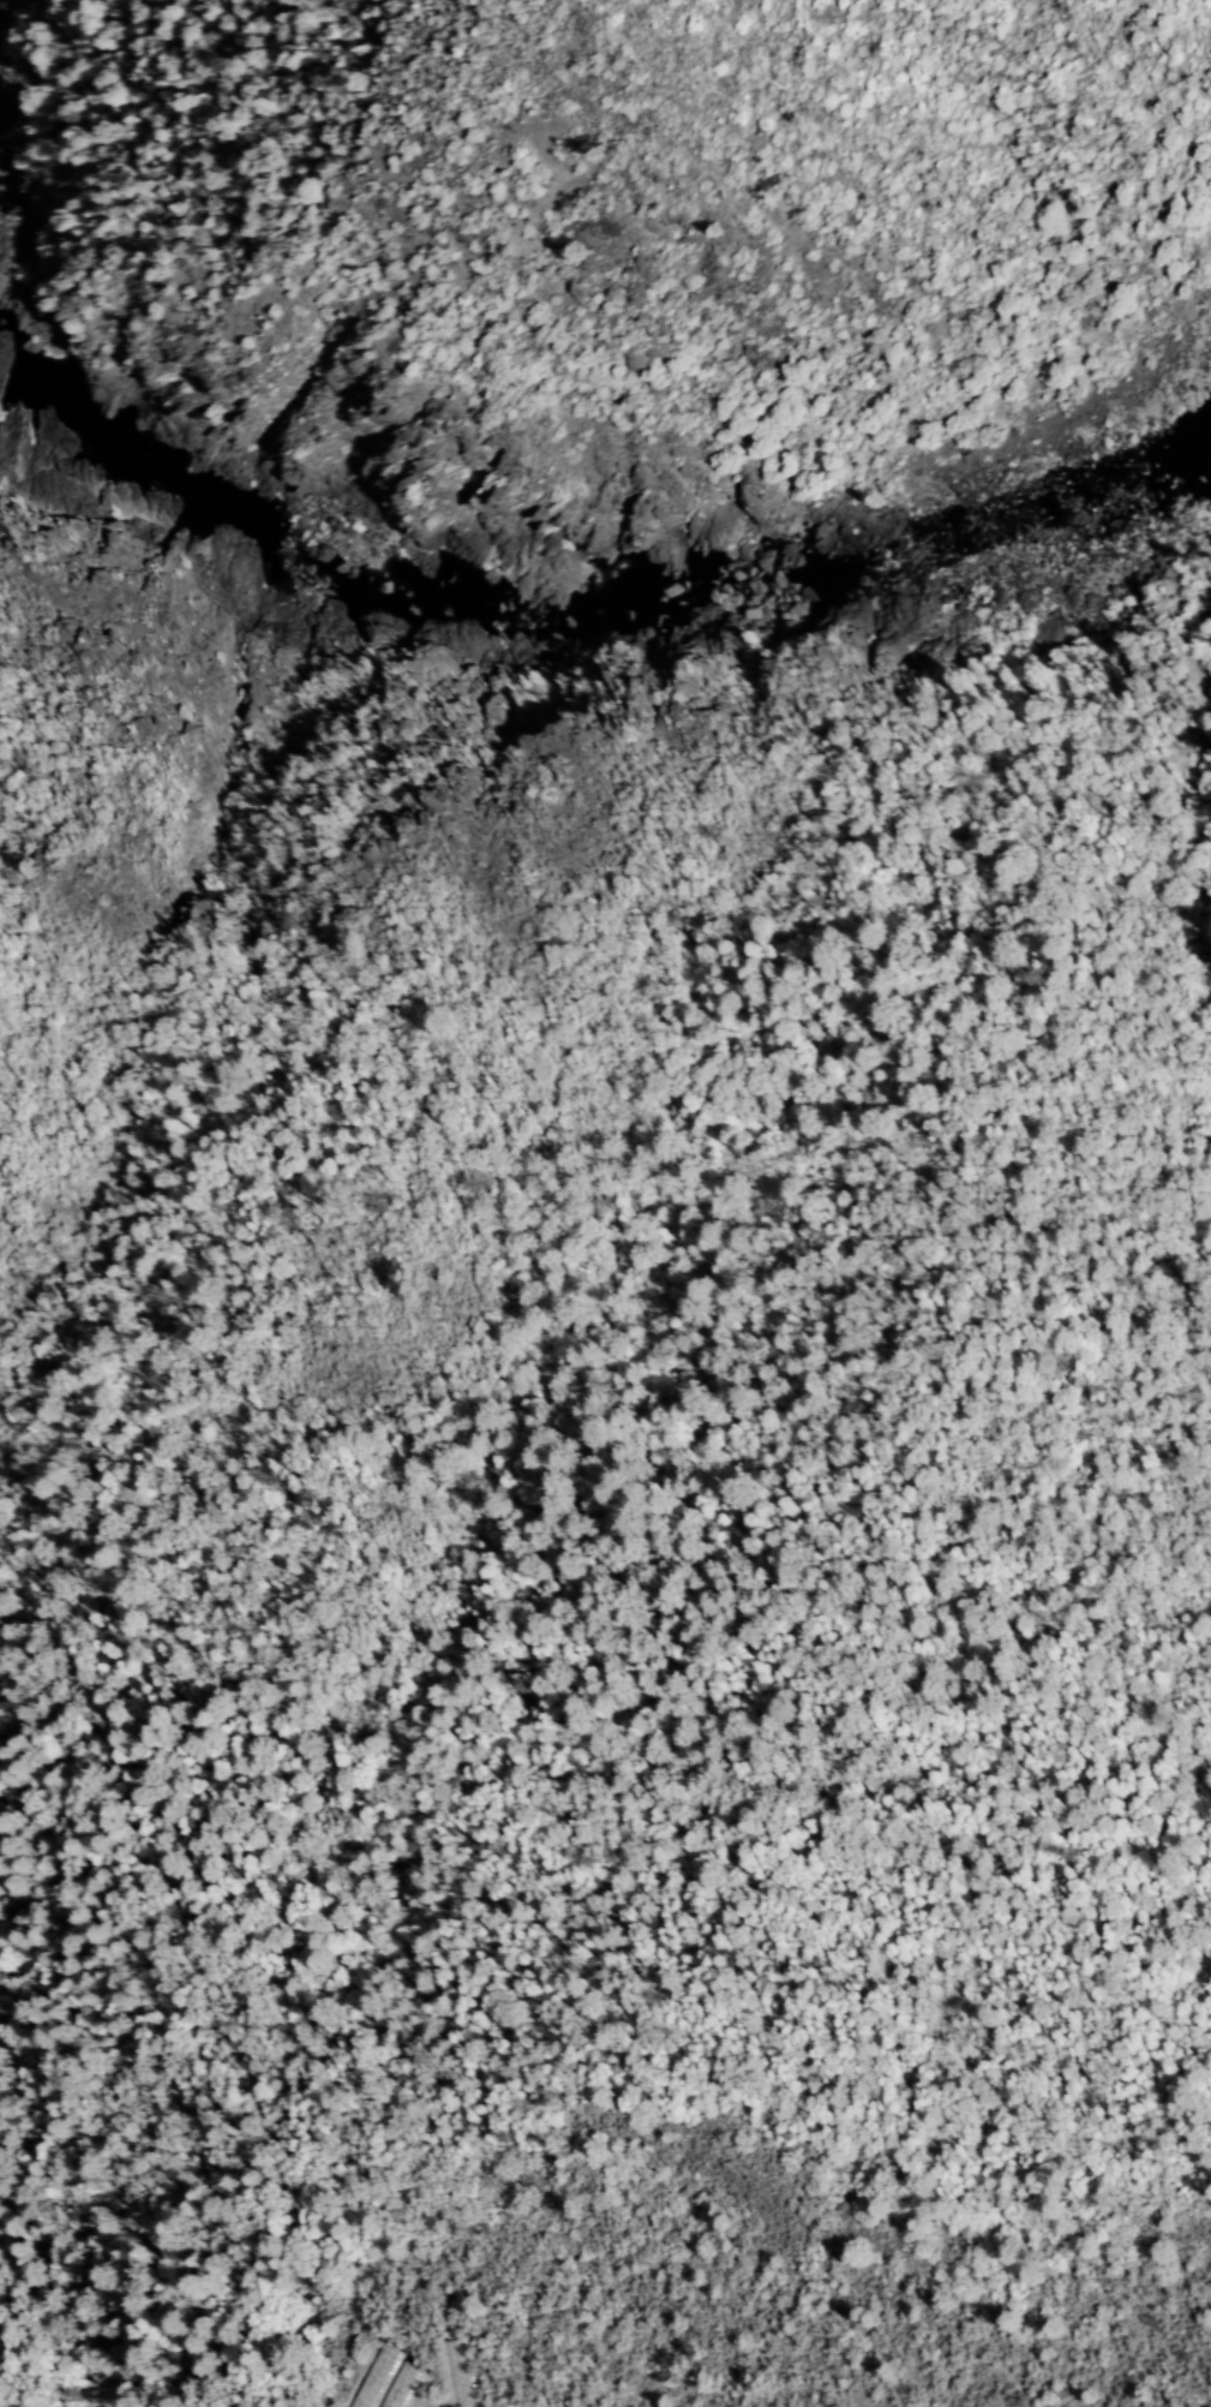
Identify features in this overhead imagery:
river: (1159, 462)
river: (155, 492)
river: (719, 586)

